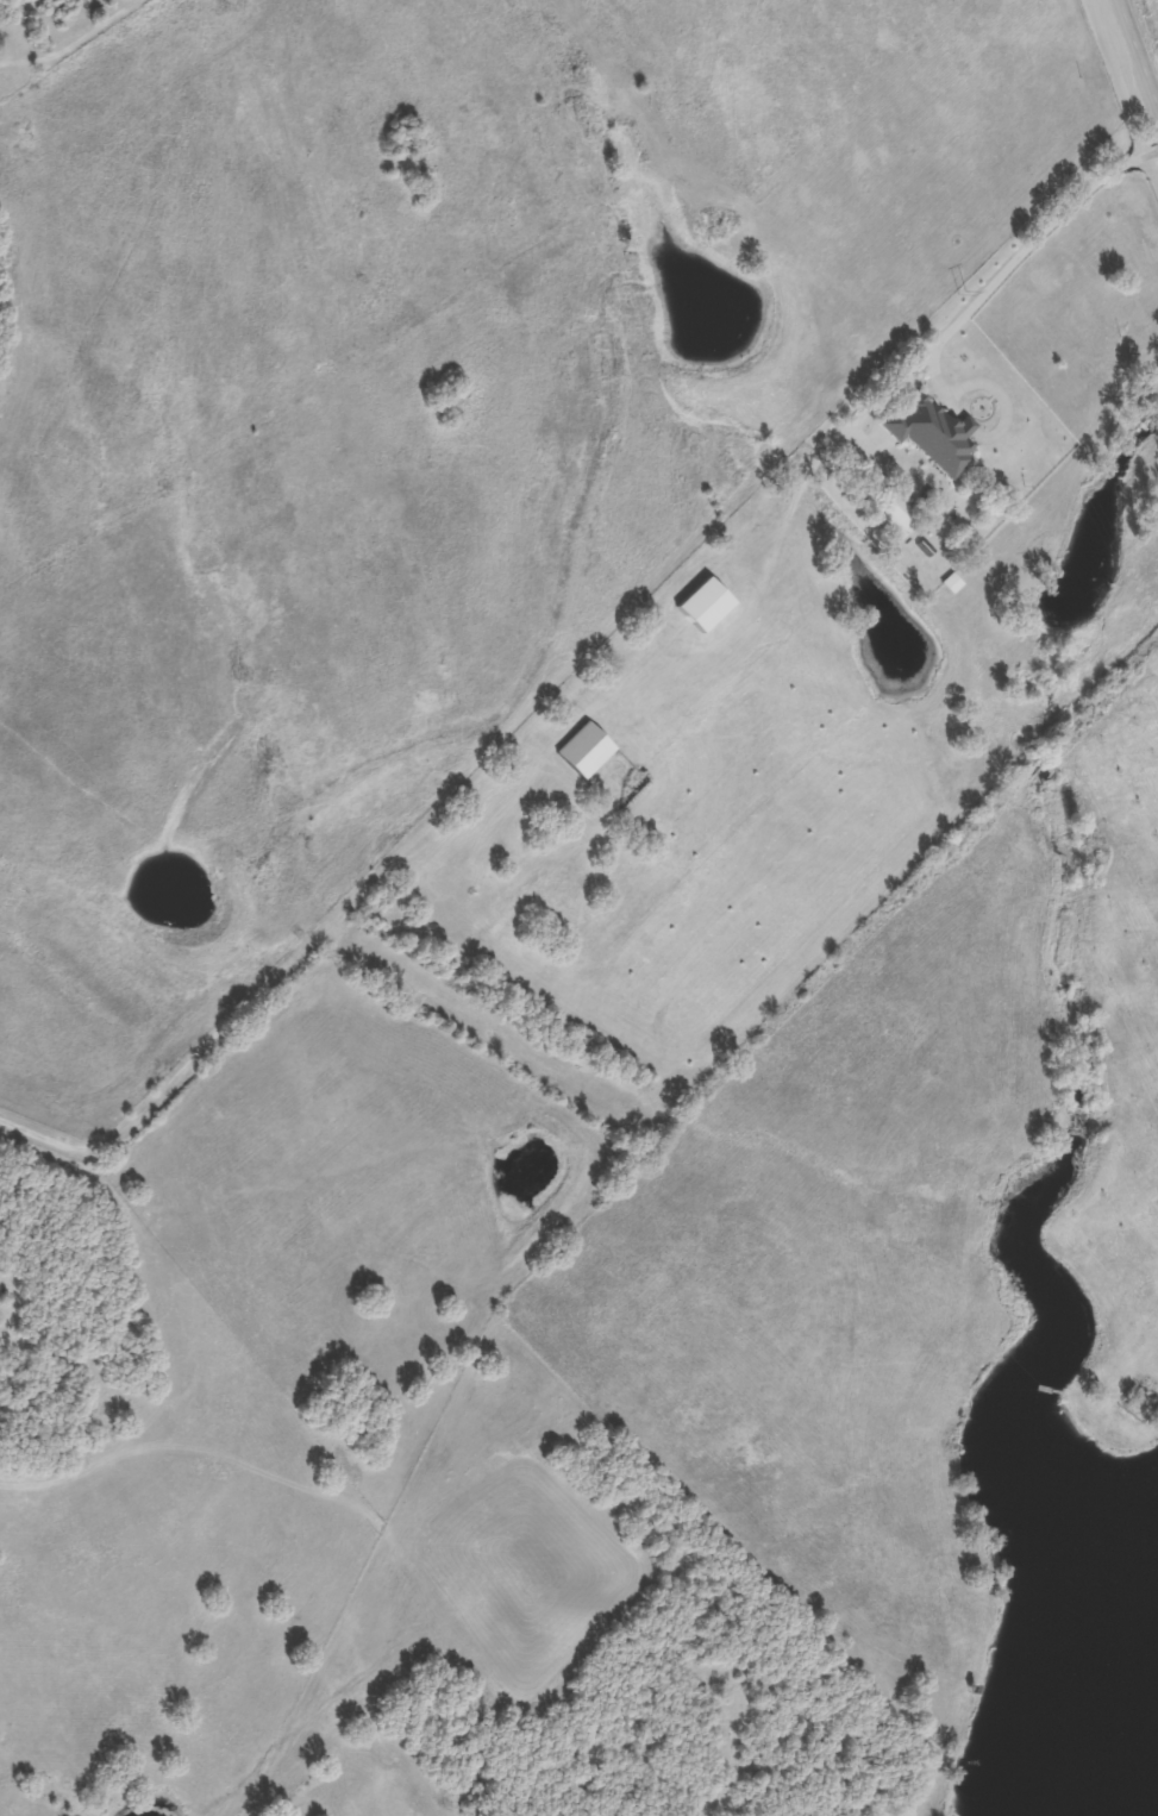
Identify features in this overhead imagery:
road: (1137, 54)
road: (976, 302)
building: (929, 433)
building: (893, 514)
building: (583, 750)
road: (436, 847)

